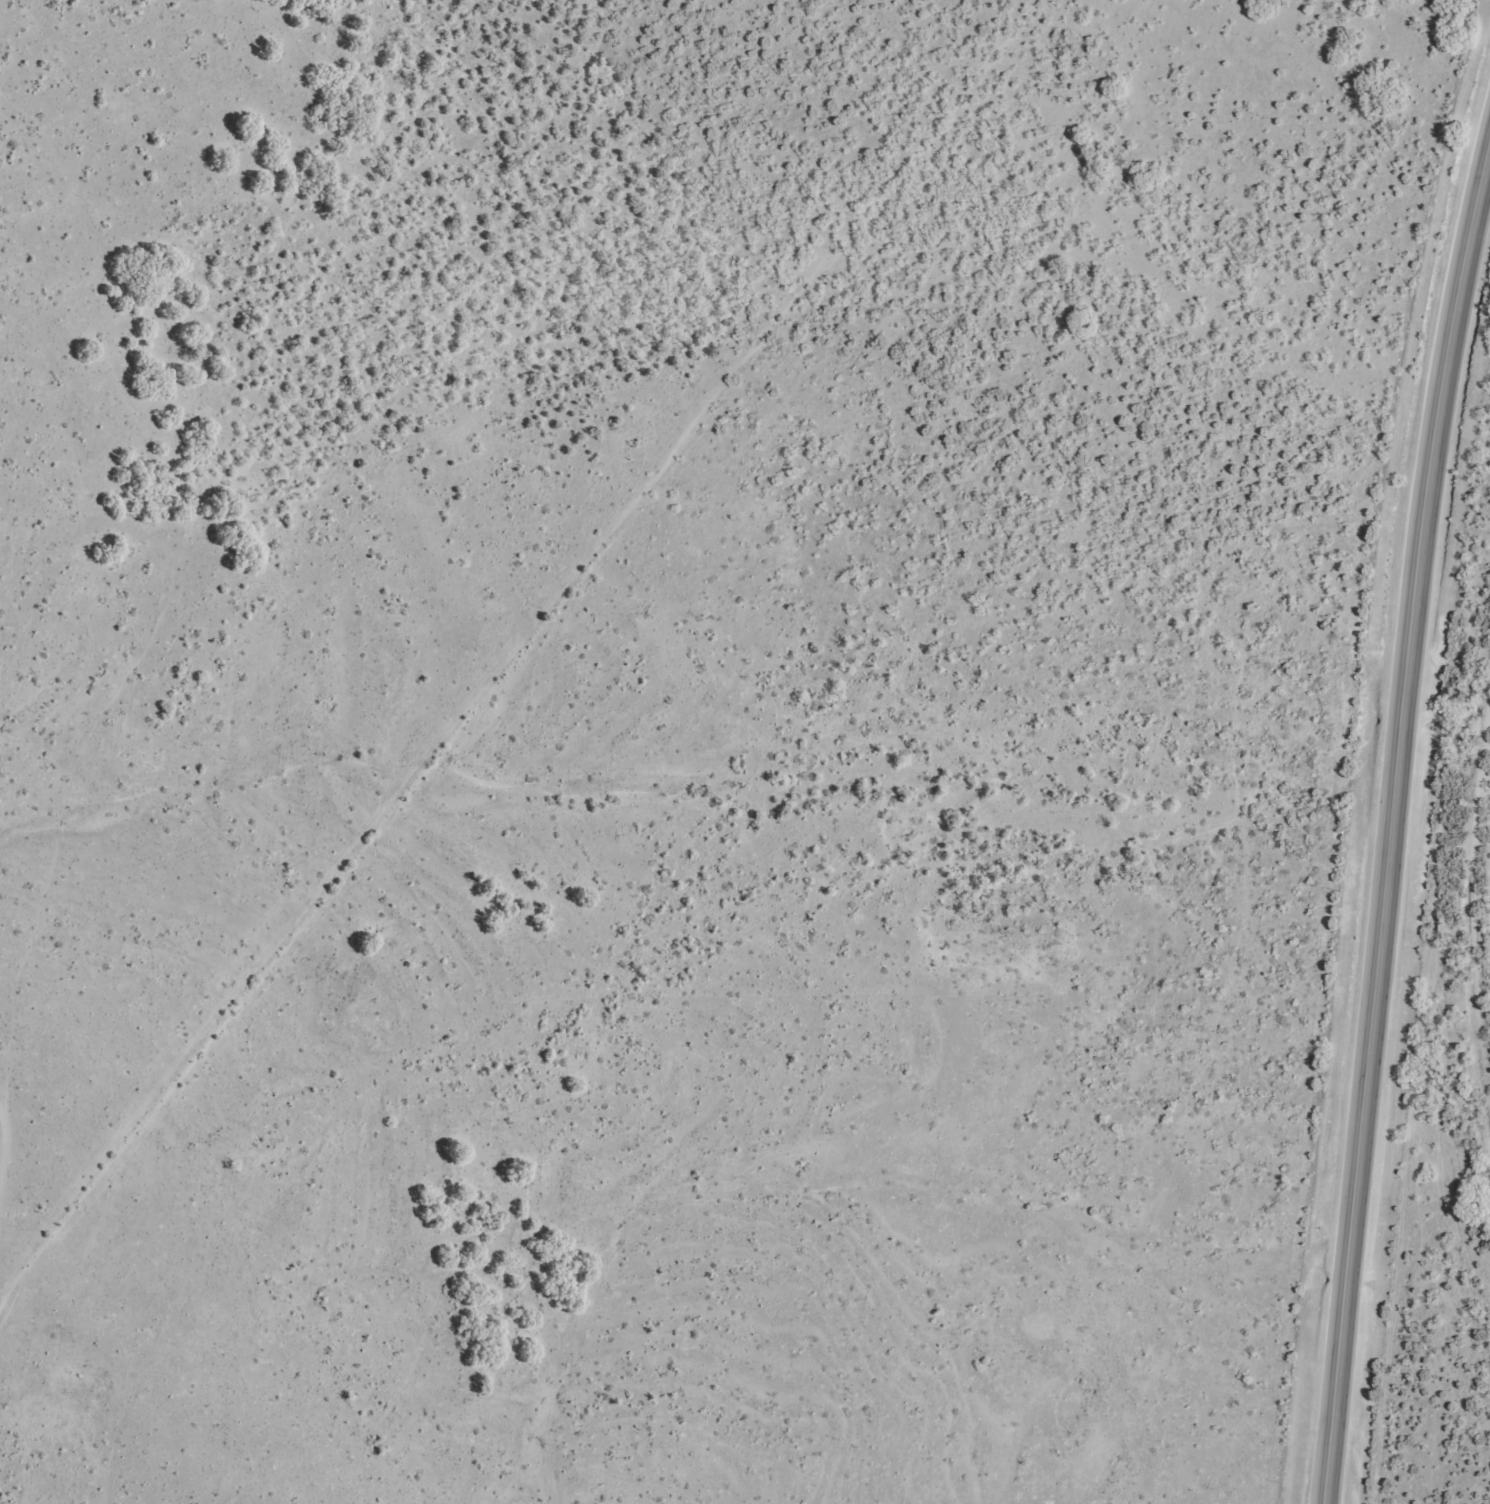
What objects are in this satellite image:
road: (525, 661)
road: (1395, 835)
road: (7, 1189)

